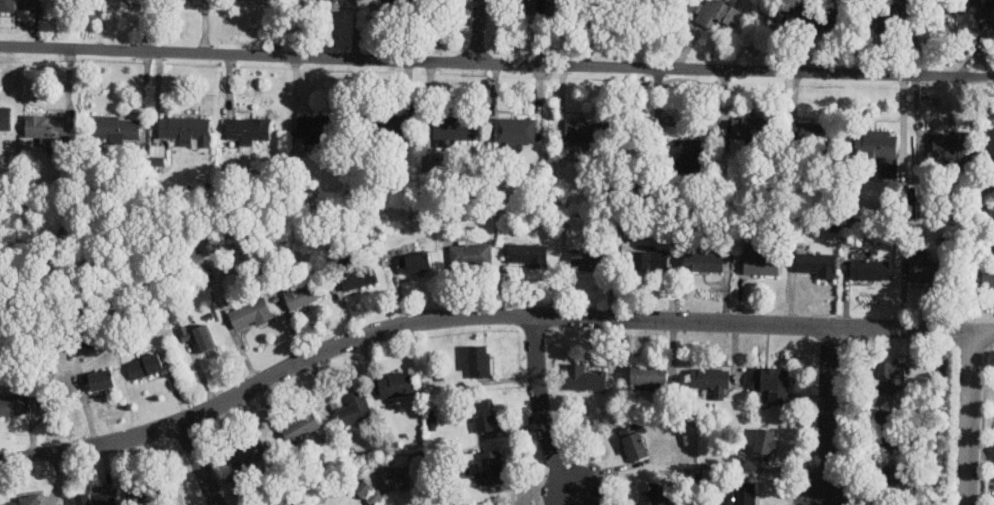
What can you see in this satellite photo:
building: (331, 0)
building: (413, 2)
building: (9, 5)
building: (534, 6)
building: (714, 12)
building: (890, 15)
building: (785, 19)
road: (476, 31)
road: (496, 63)
building: (5, 117)
building: (184, 127)
building: (315, 127)
building: (395, 127)
building: (46, 128)
building: (117, 128)
building: (248, 129)
building: (455, 129)
building: (517, 129)
building: (581, 129)
building: (747, 131)
building: (806, 133)
building: (951, 146)
building: (881, 148)
building: (157, 154)
building: (691, 154)
building: (430, 162)
building: (471, 255)
building: (527, 255)
building: (588, 259)
building: (650, 260)
building: (704, 261)
building: (759, 261)
building: (419, 262)
building: (817, 263)
building: (870, 269)
building: (925, 270)
building: (353, 275)
building: (988, 280)
building: (304, 293)
building: (250, 314)
road: (453, 318)
road: (940, 332)
road: (960, 333)
road: (983, 334)
building: (198, 335)
building: (480, 360)
building: (146, 365)
building: (648, 374)
building: (886, 377)
building: (584, 378)
building: (101, 379)
building: (712, 380)
building: (771, 383)
building: (396, 384)
building: (14, 403)
building: (354, 406)
road: (539, 410)
building: (483, 415)
road: (826, 415)
road: (970, 419)
building: (300, 426)
building: (885, 428)
building: (634, 442)
building: (766, 444)
building: (744, 448)
building: (250, 450)
road: (197, 464)
building: (489, 468)
building: (895, 481)
building: (155, 489)
building: (366, 492)
building: (650, 493)
building: (745, 494)
building: (96, 498)
building: (22, 500)
building: (283, 502)

